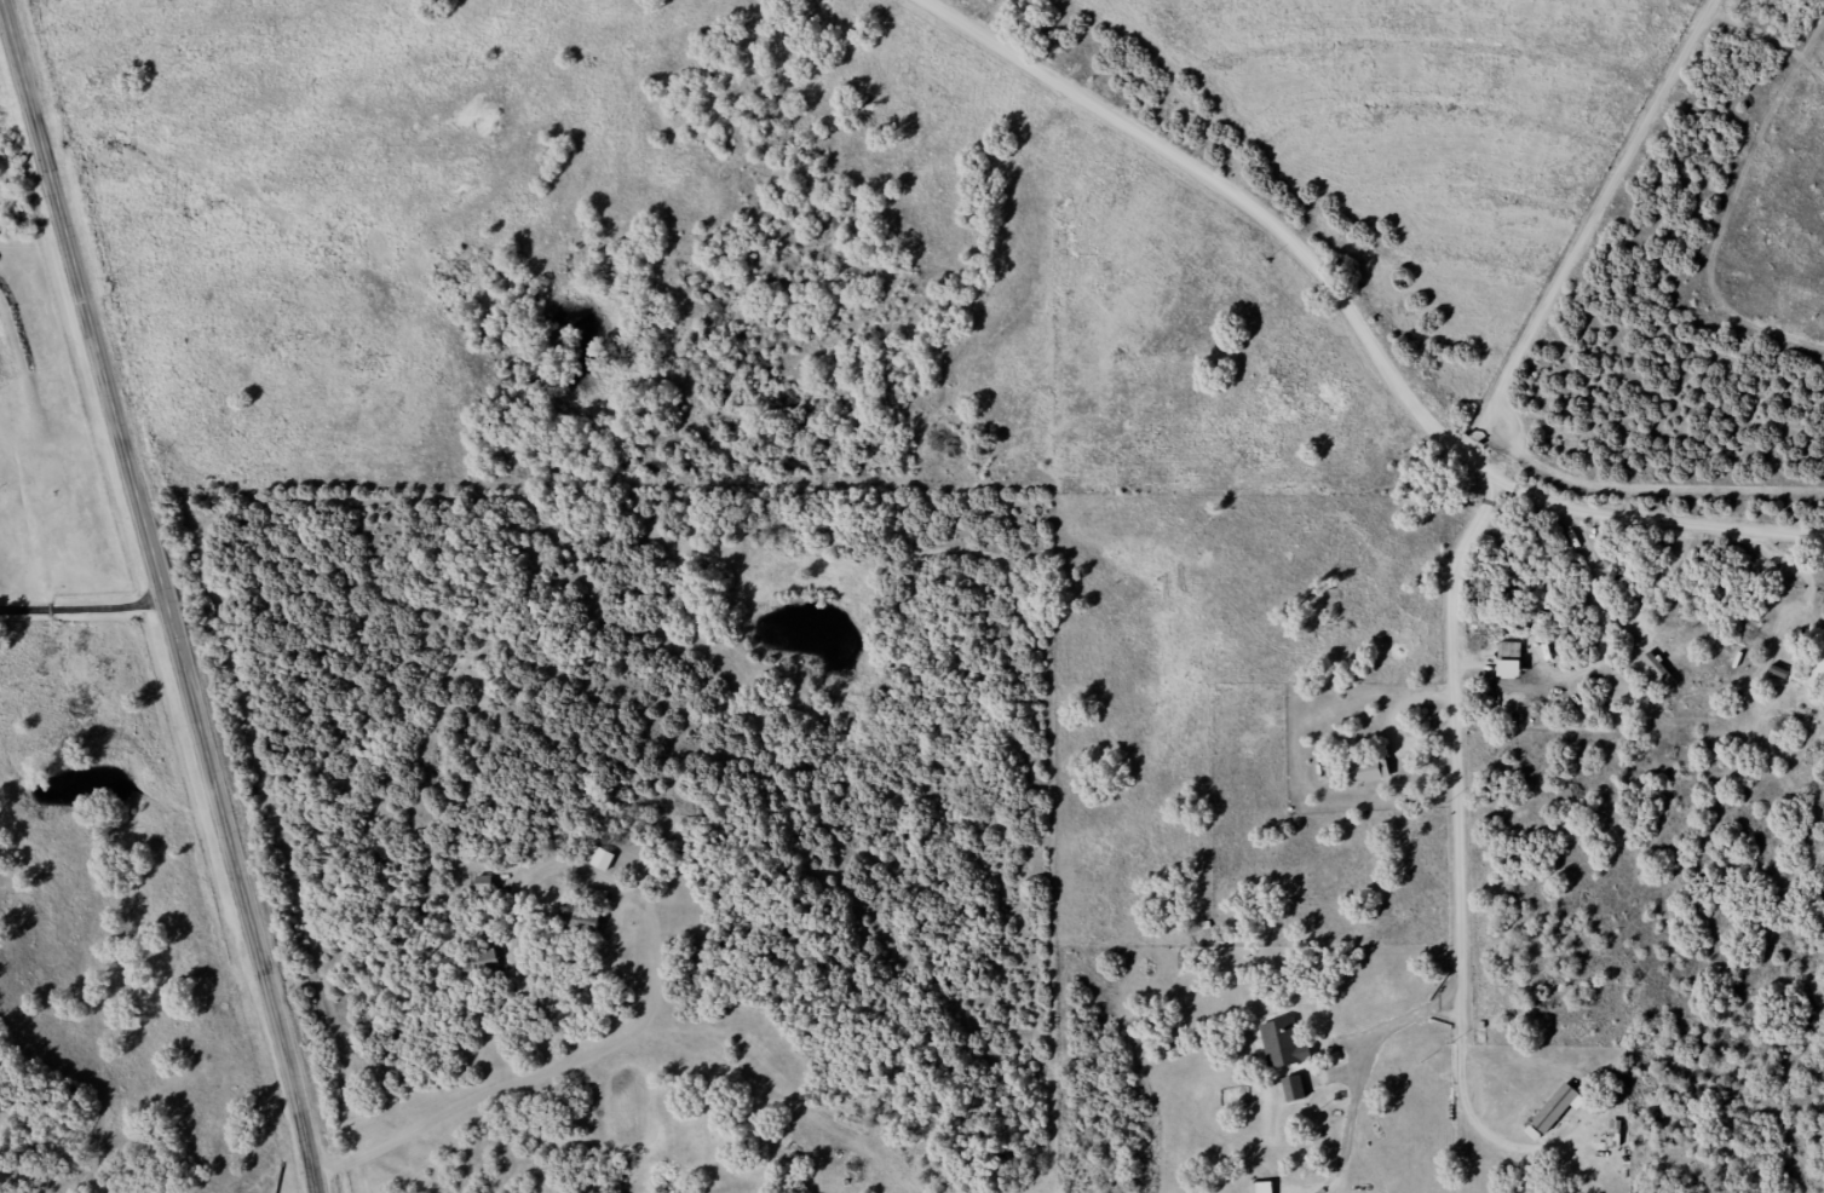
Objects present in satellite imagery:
road: (1491, 44)
road: (1184, 65)
road: (334, 79)
road: (1360, 321)
road: (168, 595)
building: (1544, 607)
building: (1659, 674)
building: (1812, 675)
road: (1491, 685)
building: (1365, 777)
building: (483, 888)
building: (579, 924)
building: (485, 966)
building: (1283, 1049)
building: (1554, 1113)
building: (1262, 1189)

